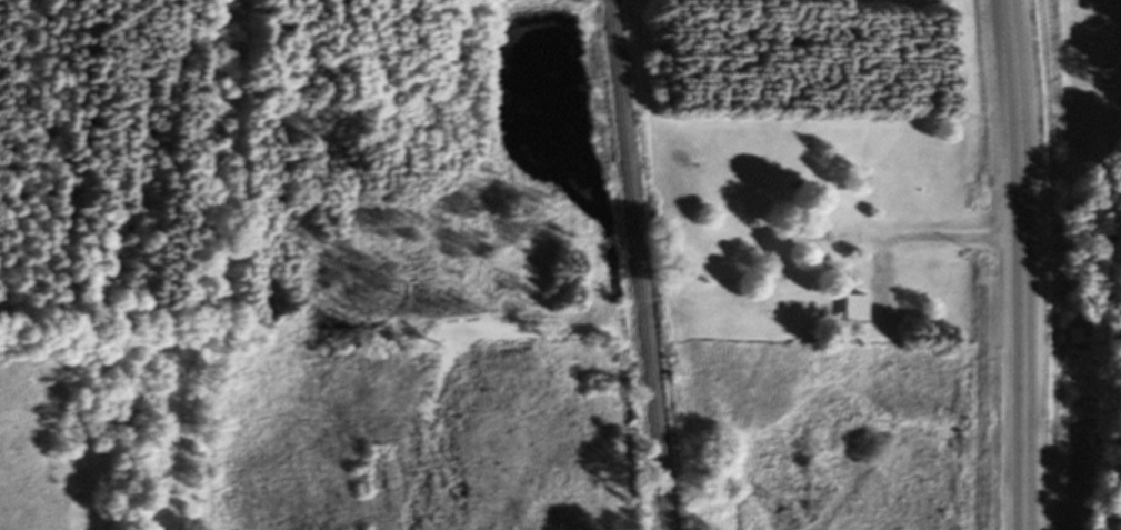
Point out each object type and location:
road: (933, 238)
railway: (642, 264)
road: (1024, 264)
building: (858, 309)

